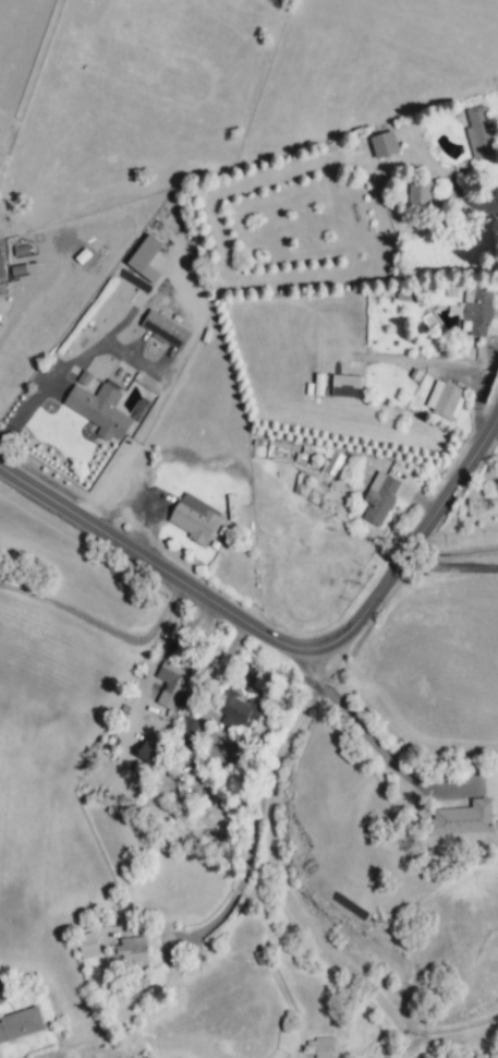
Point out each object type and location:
building: (478, 132)
building: (384, 145)
building: (420, 194)
building: (145, 259)
building: (1, 268)
building: (134, 281)
building: (478, 312)
building: (165, 329)
road: (144, 364)
building: (84, 377)
road: (475, 383)
building: (345, 386)
building: (445, 399)
building: (99, 409)
building: (332, 464)
building: (302, 479)
building: (379, 497)
crop: (472, 509)
building: (193, 517)
road: (451, 561)
road: (106, 629)
road: (299, 644)
building: (175, 684)
building: (239, 711)
building: (187, 731)
road: (386, 744)
building: (149, 749)
road: (260, 789)
building: (463, 818)
road: (294, 912)
building: (87, 945)
building: (131, 950)
building: (20, 1023)
building: (319, 1047)

